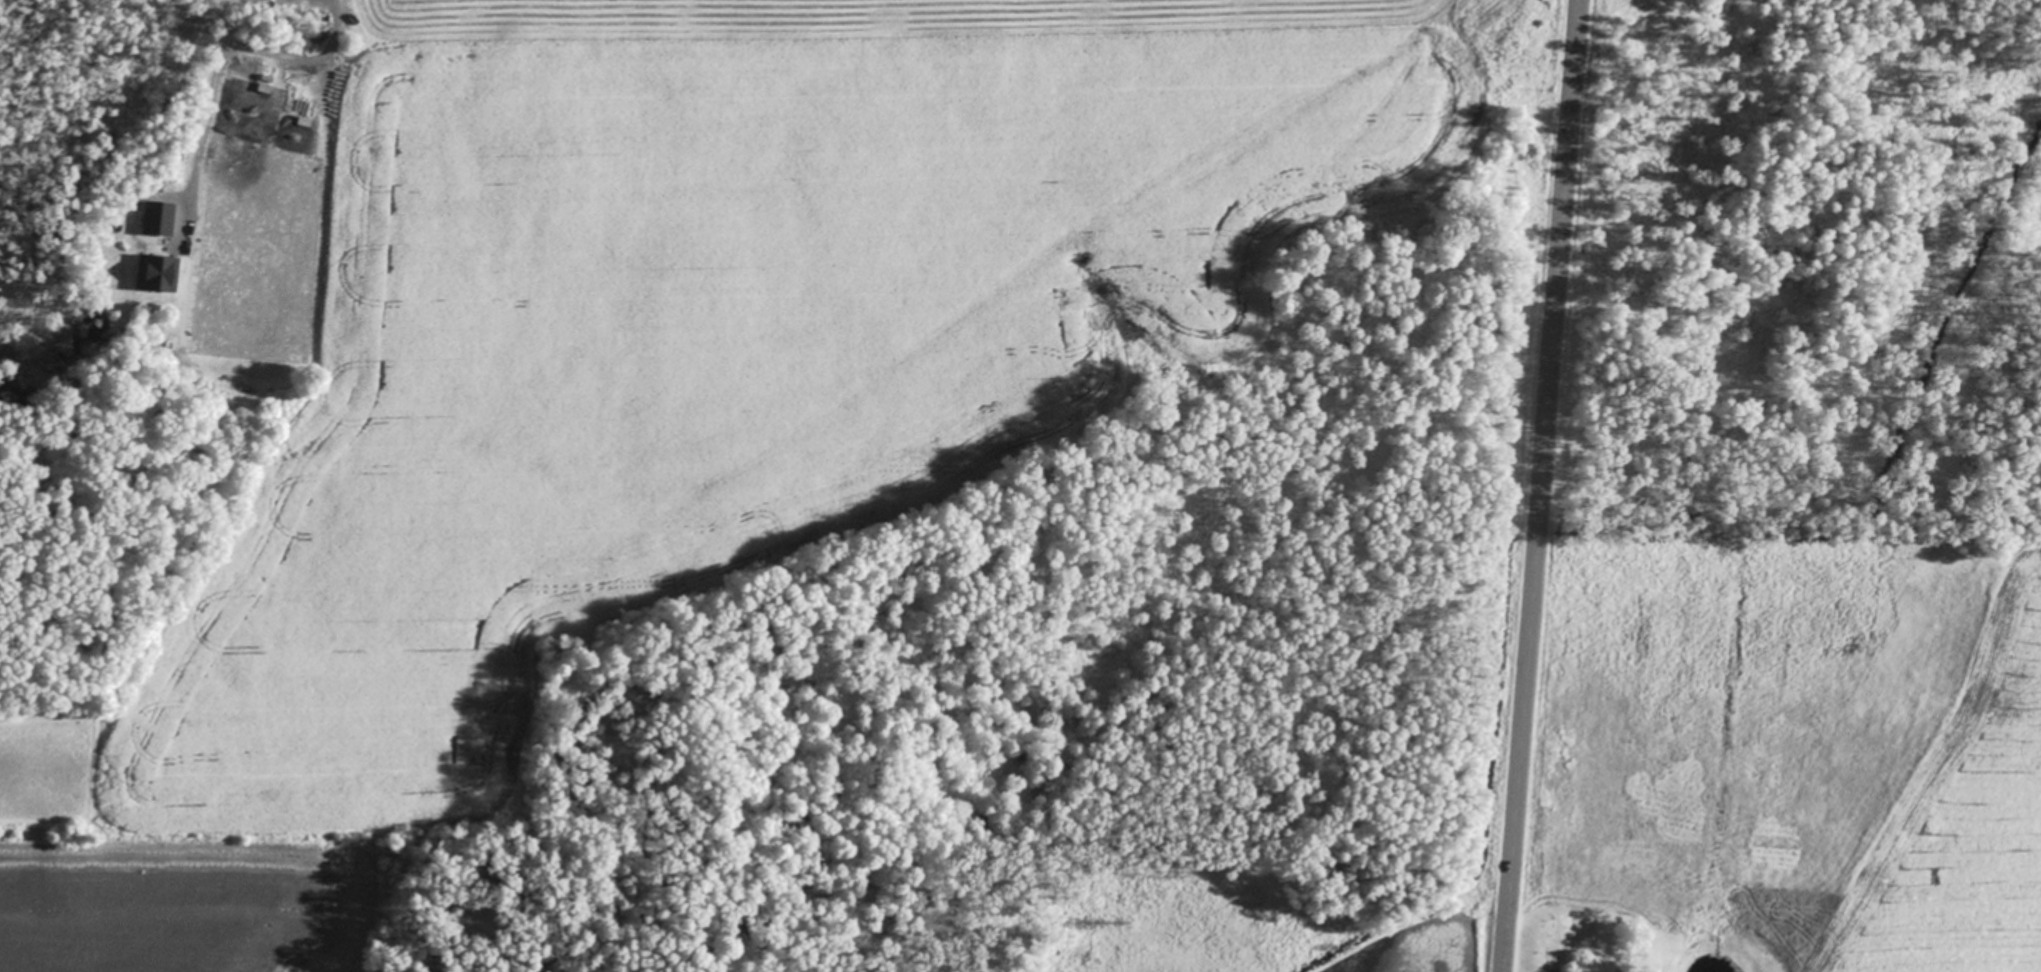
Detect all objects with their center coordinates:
building: (264, 85)
building: (157, 219)
building: (157, 273)
road: (1539, 486)

